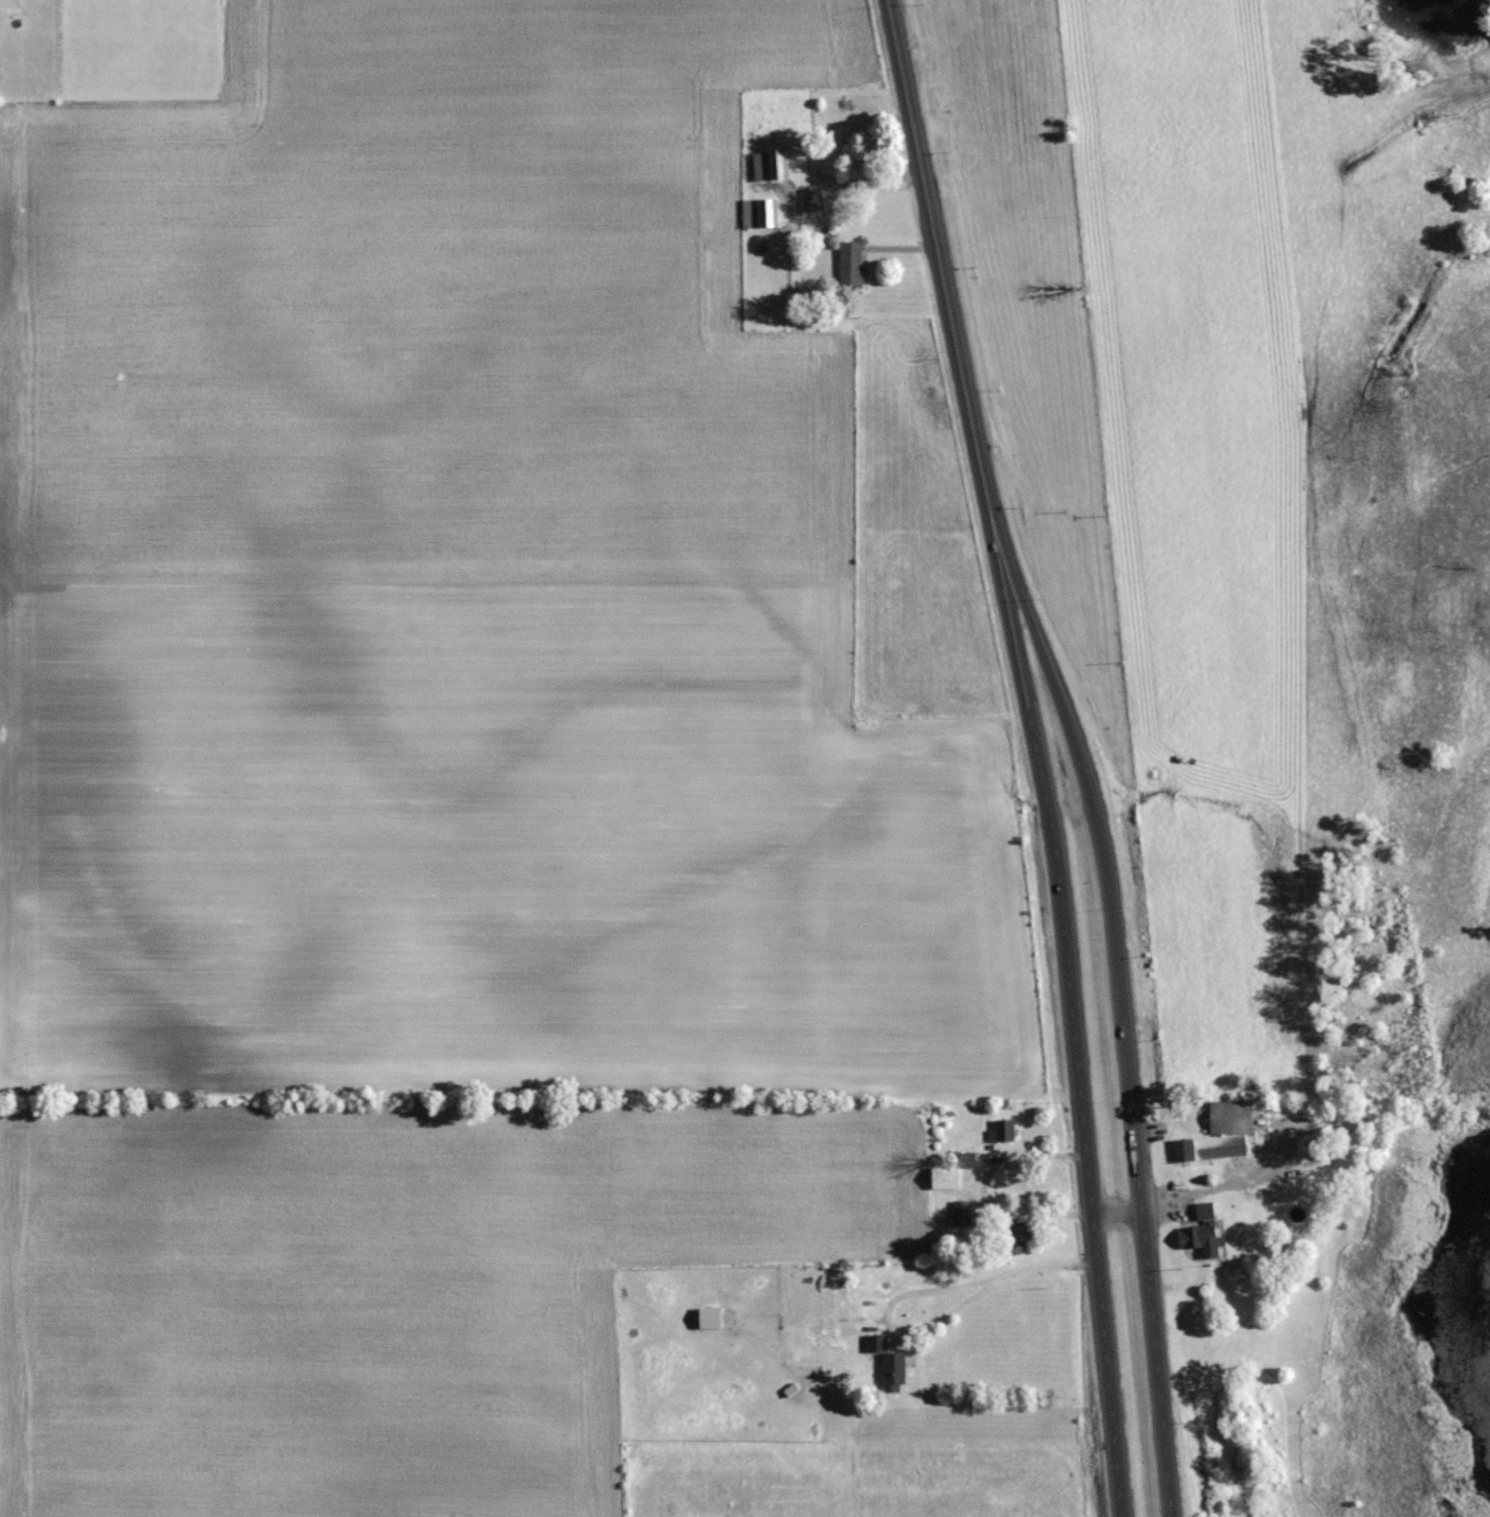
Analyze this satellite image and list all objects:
building: (769, 164)
building: (812, 198)
building: (759, 212)
road: (941, 256)
building: (850, 262)
road: (1019, 665)
road: (1068, 729)
building: (1002, 1130)
building: (1219, 1133)
road: (1087, 1166)
building: (950, 1170)
building: (960, 1213)
road: (1119, 1220)
building: (1200, 1231)
building: (1013, 1234)
road: (1146, 1234)
road: (934, 1326)
building: (821, 1330)
building: (887, 1362)

